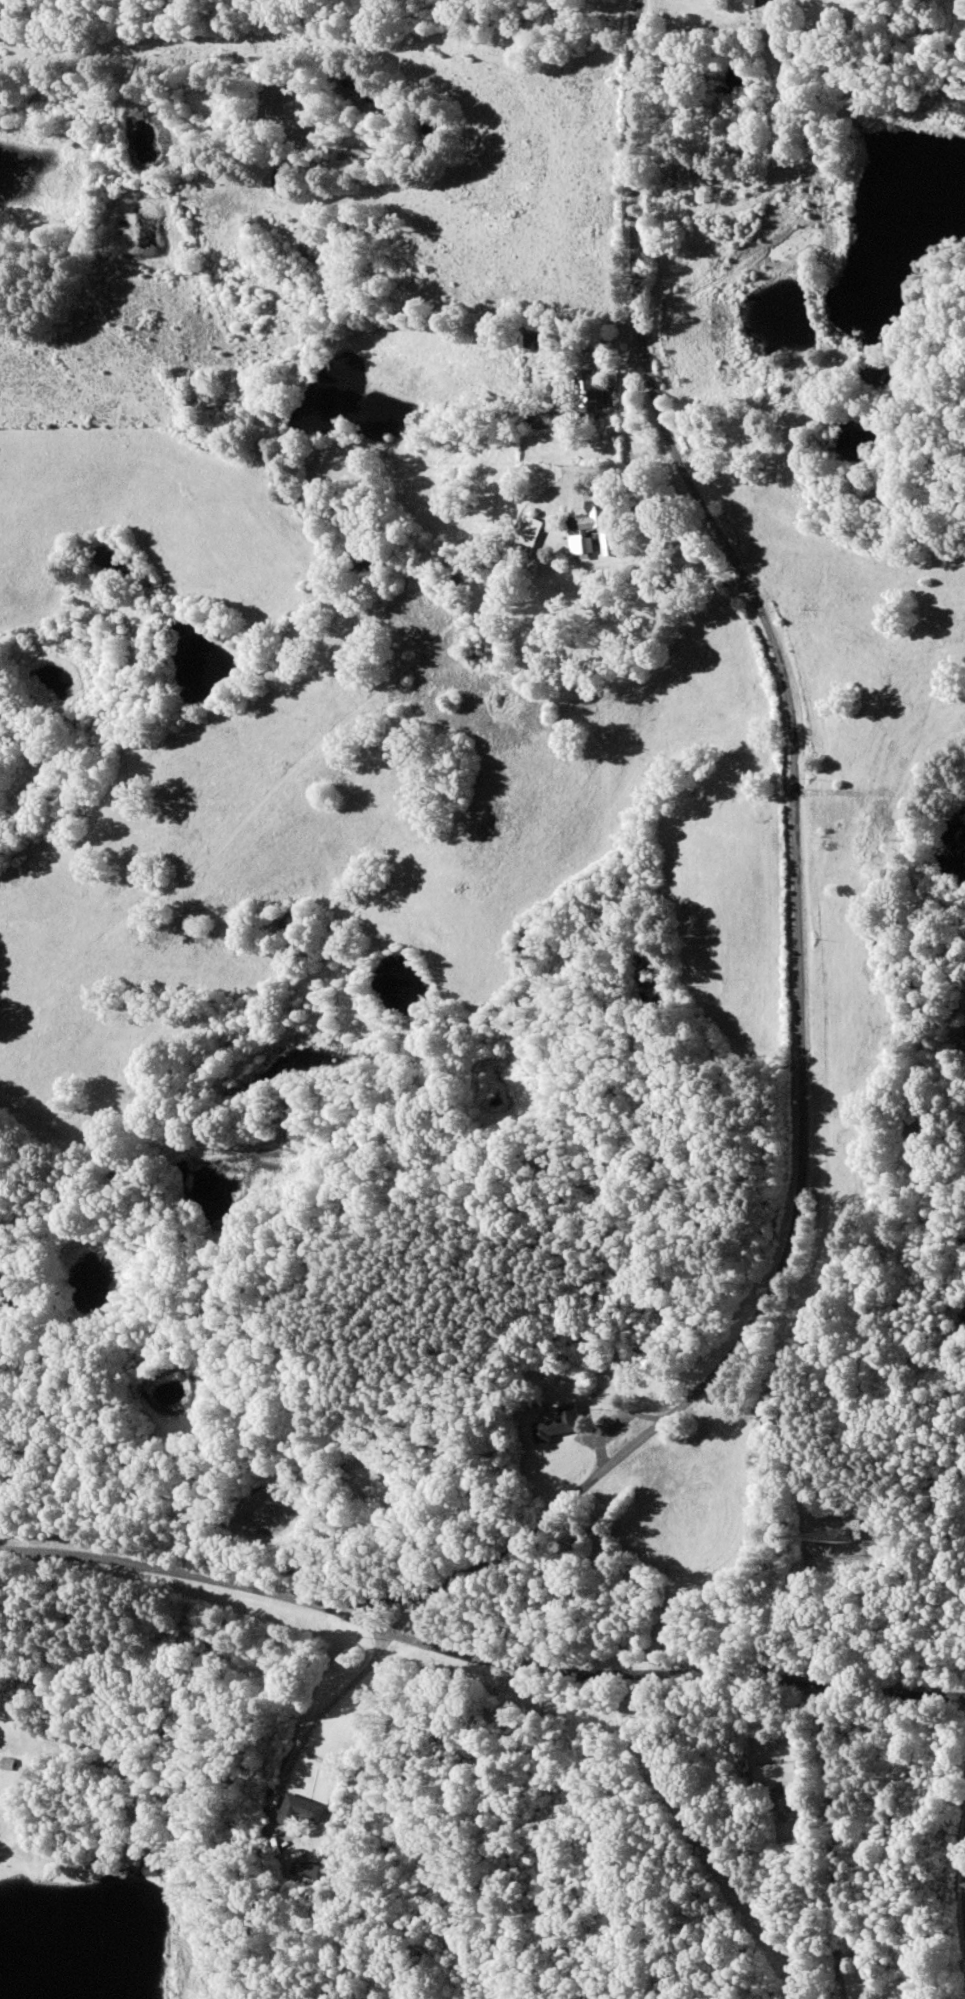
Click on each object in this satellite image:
building: (761, 2)
building: (539, 337)
building: (593, 346)
building: (590, 399)
building: (587, 529)
building: (608, 544)
building: (485, 659)
building: (875, 828)
road: (799, 911)
building: (558, 1425)
road: (27, 1551)
road: (195, 1582)
road: (41, 1647)
road: (642, 1661)
building: (776, 1776)
building: (299, 1811)
road: (833, 1834)
building: (306, 1872)

